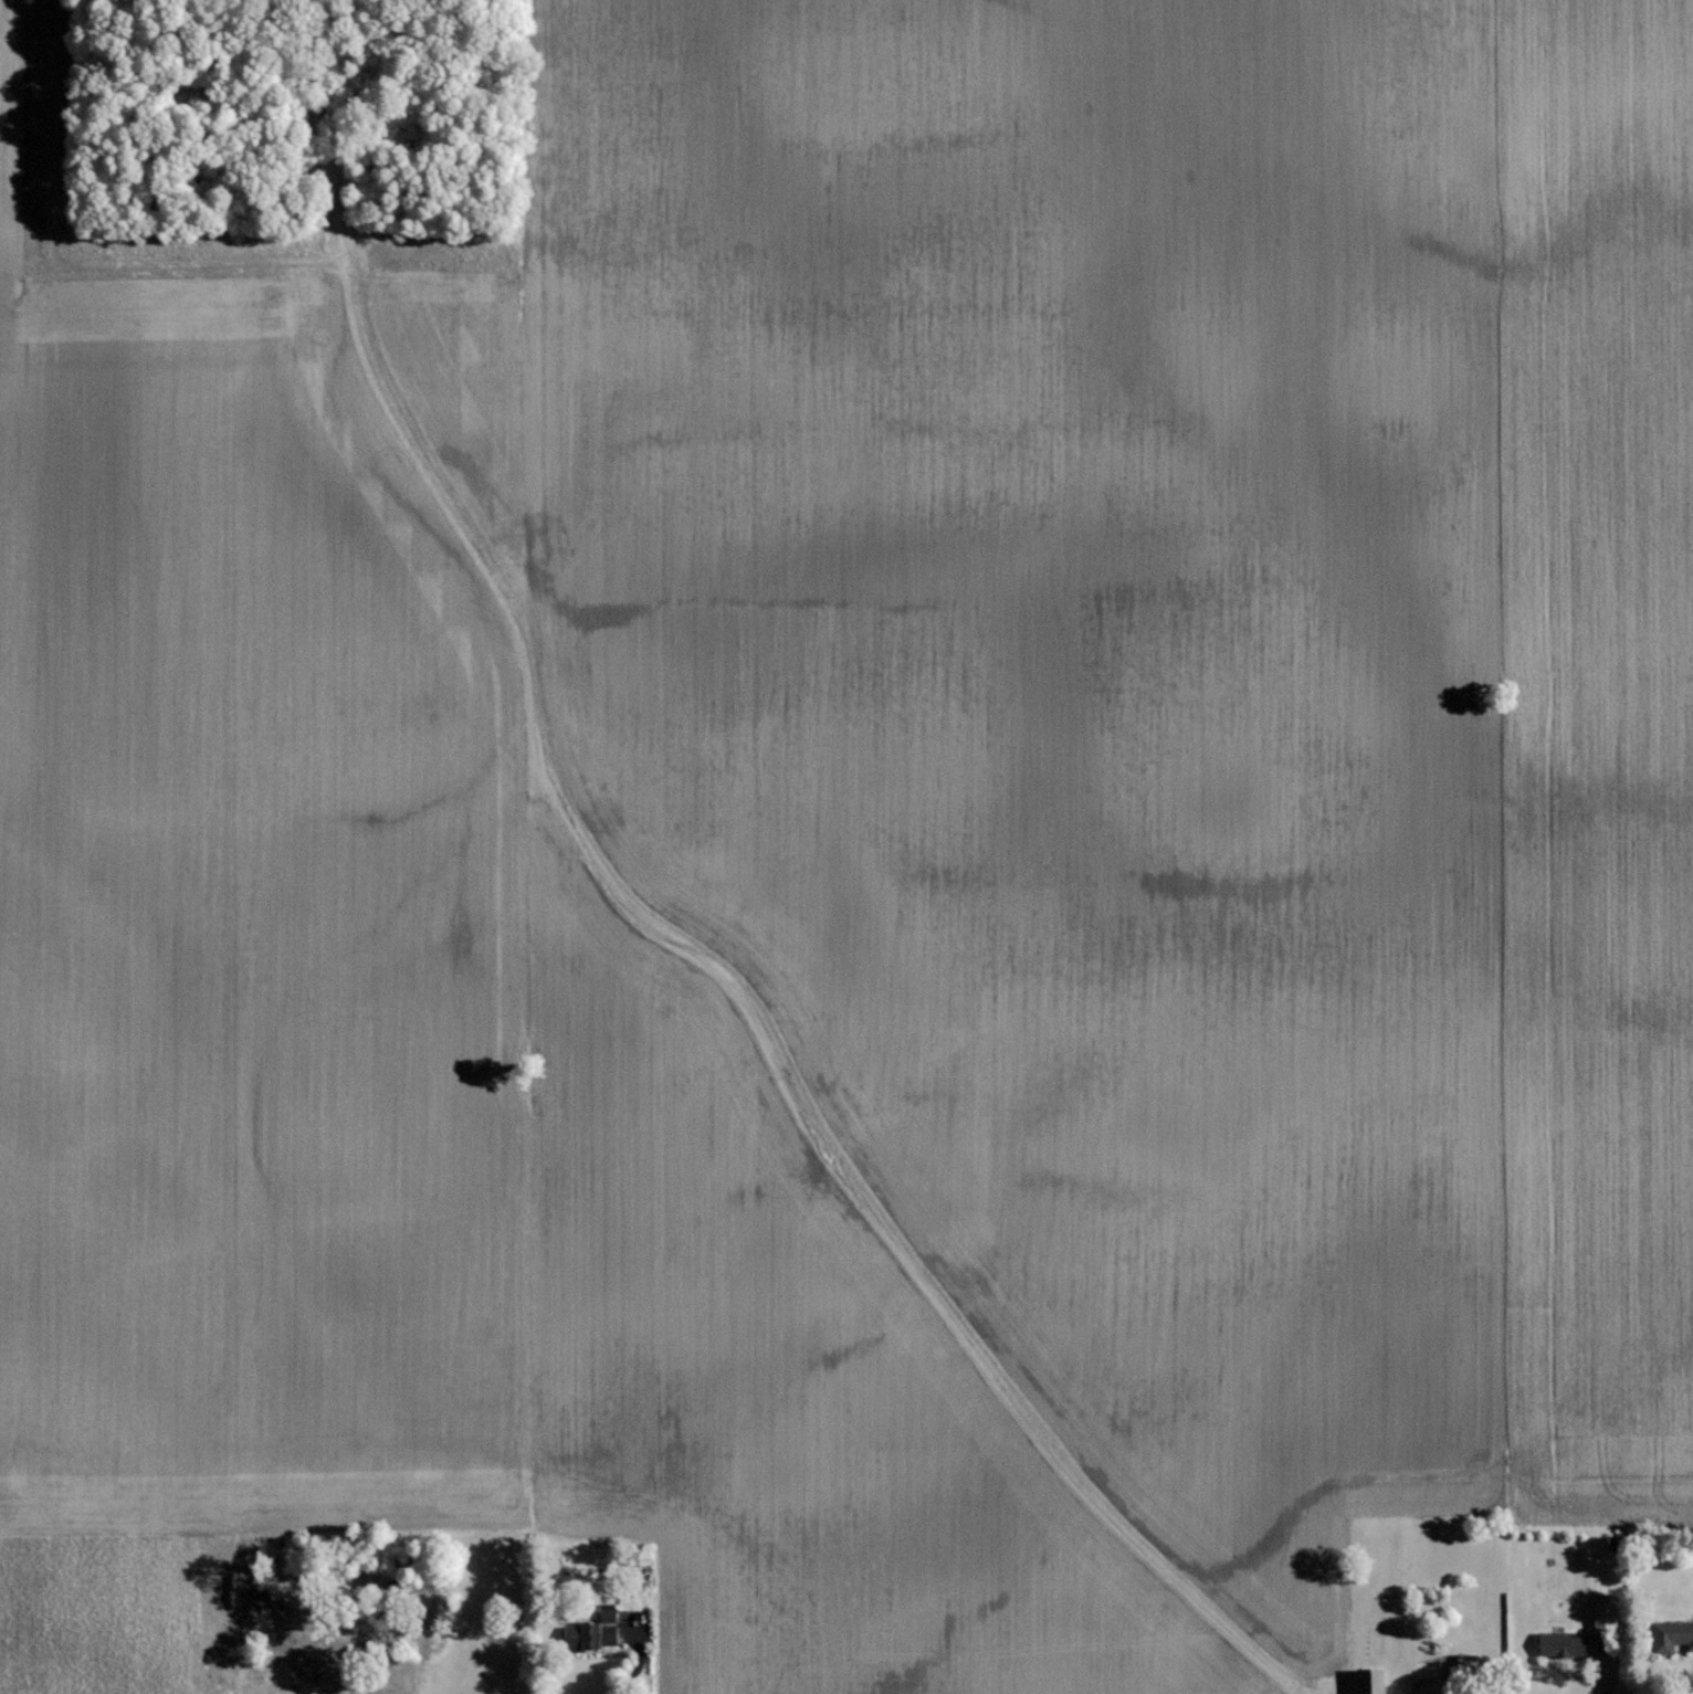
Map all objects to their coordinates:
building: (245, 1614)
building: (1601, 1616)
building: (590, 1631)
building: (1671, 1634)
building: (1558, 1643)
building: (1366, 1681)

